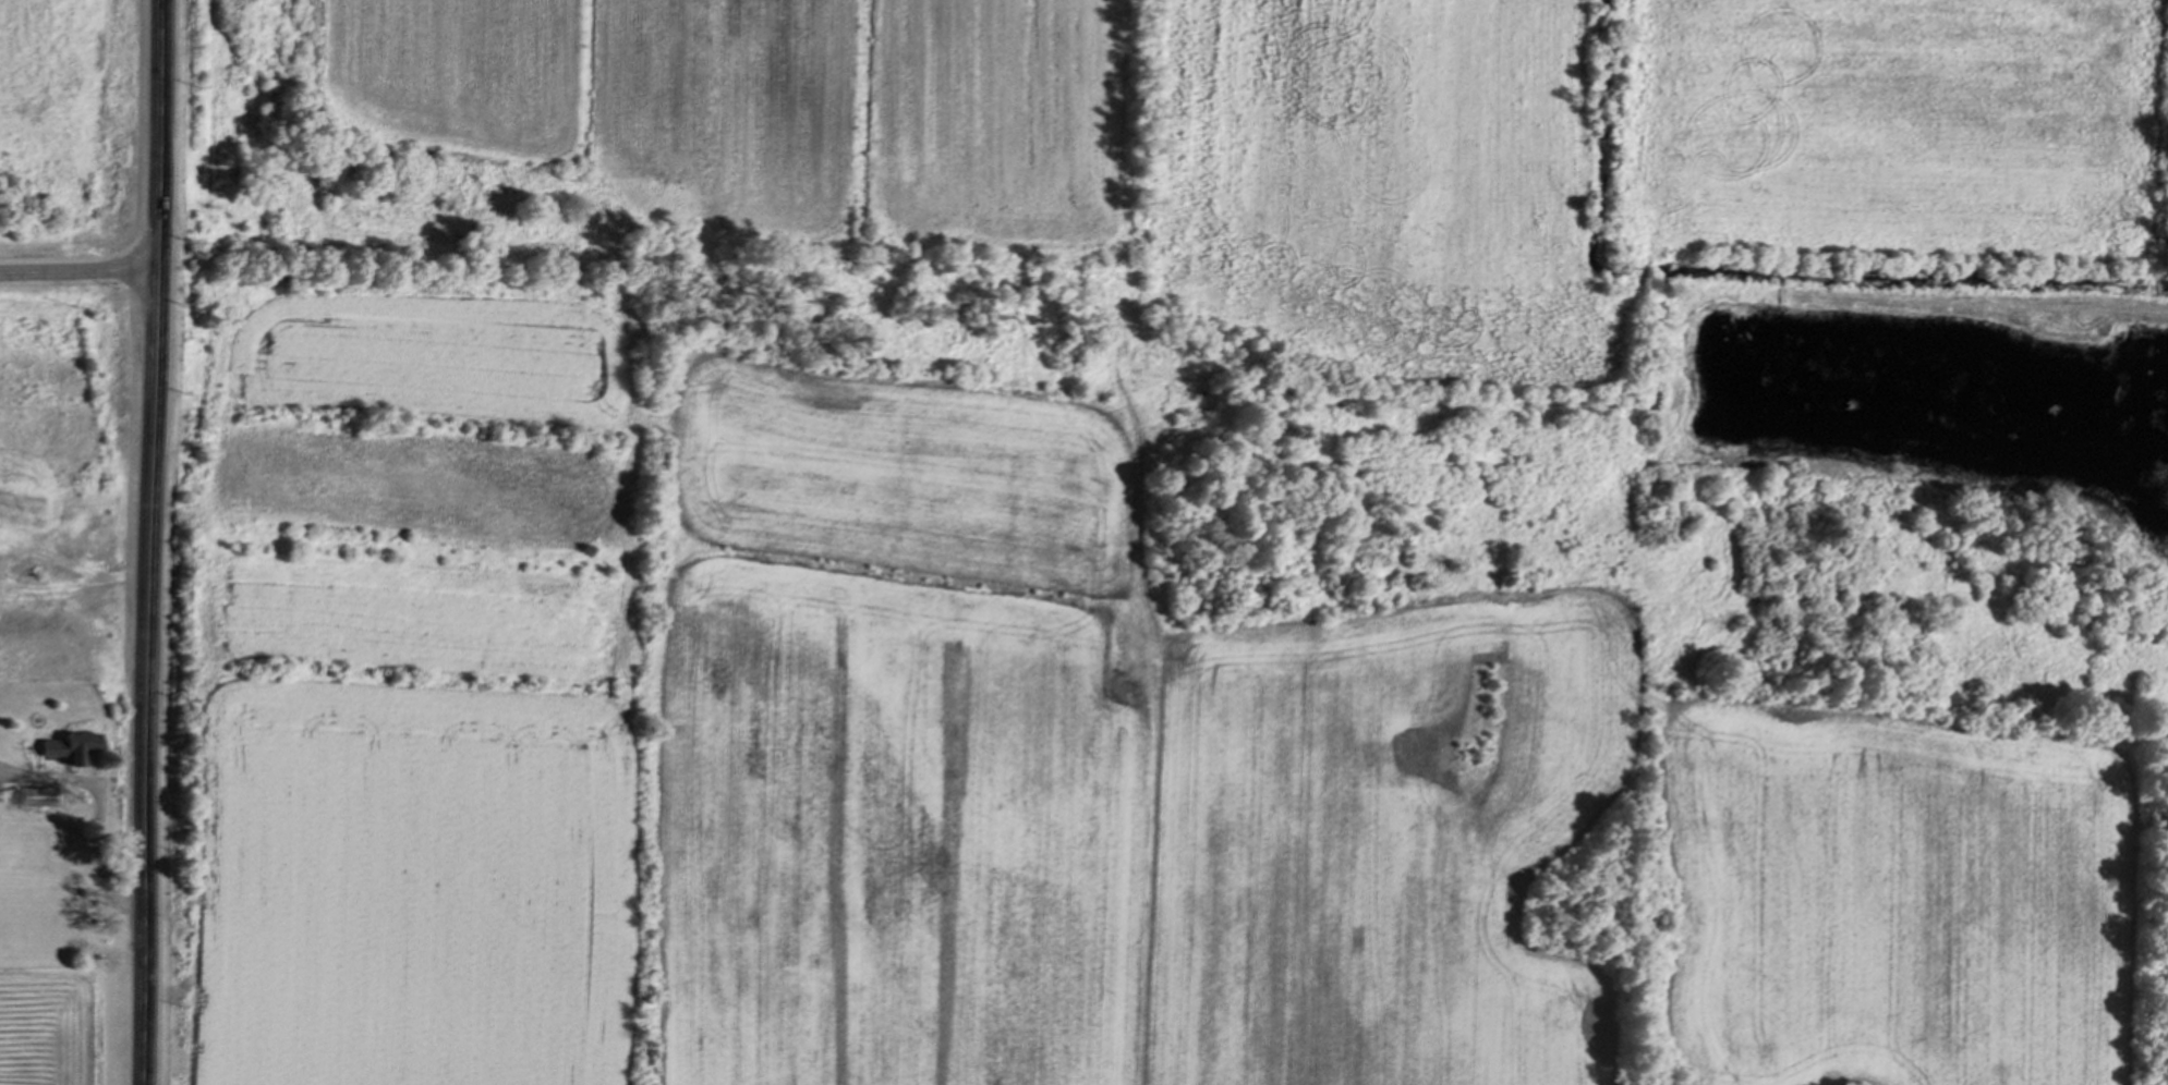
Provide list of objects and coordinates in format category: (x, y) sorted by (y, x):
crop: (785, 107)
road: (78, 269)
road: (154, 542)
building: (73, 748)
crop: (1021, 768)
road: (97, 810)

